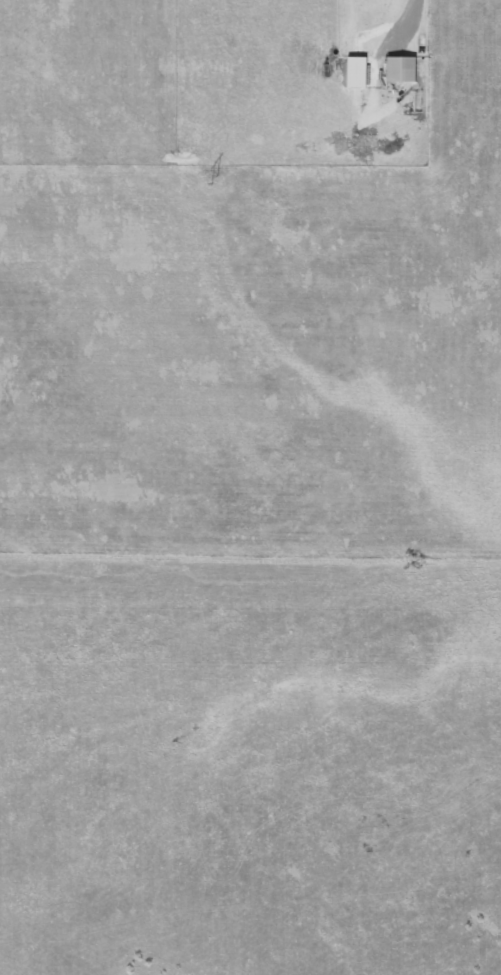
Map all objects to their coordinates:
building: (403, 69)

